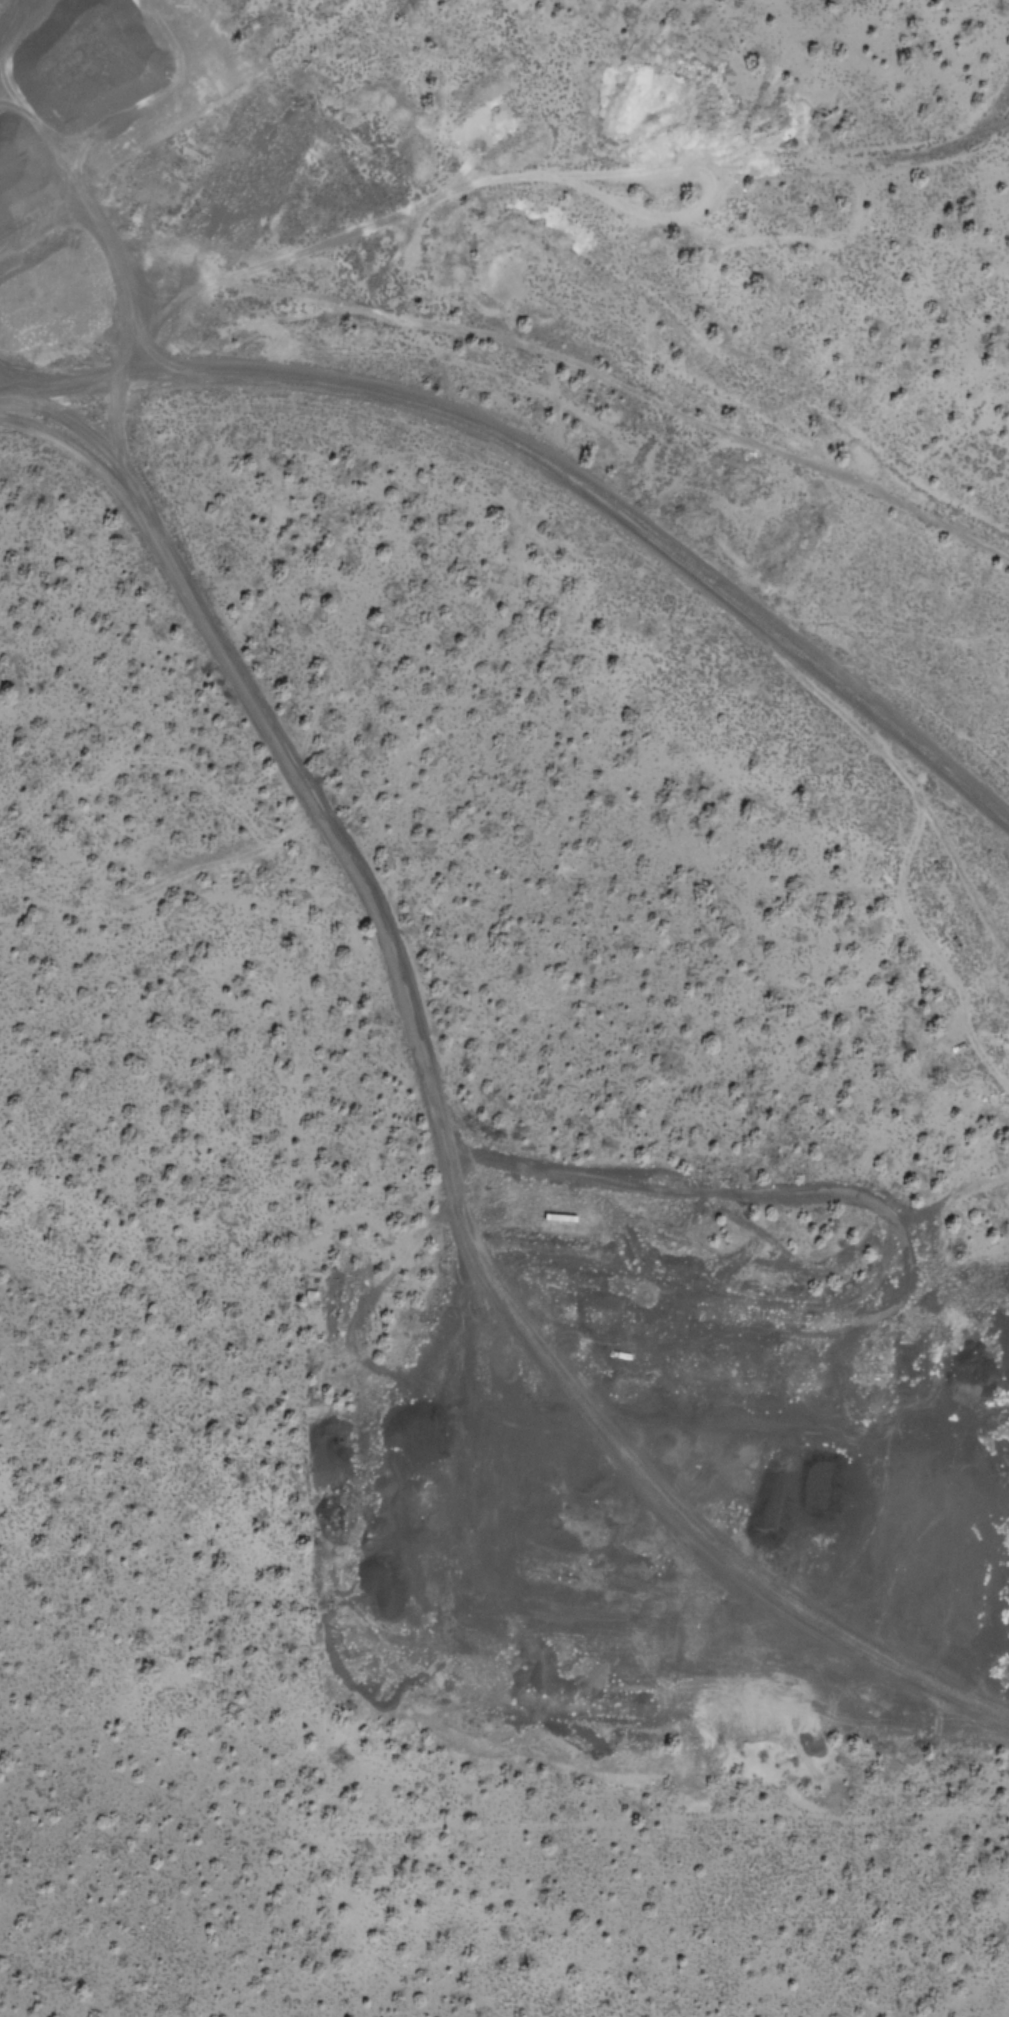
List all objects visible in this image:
quarry: (335, 166)
road: (559, 465)
road: (442, 1134)
road: (789, 1184)
road: (808, 1417)
quarry: (692, 1510)

